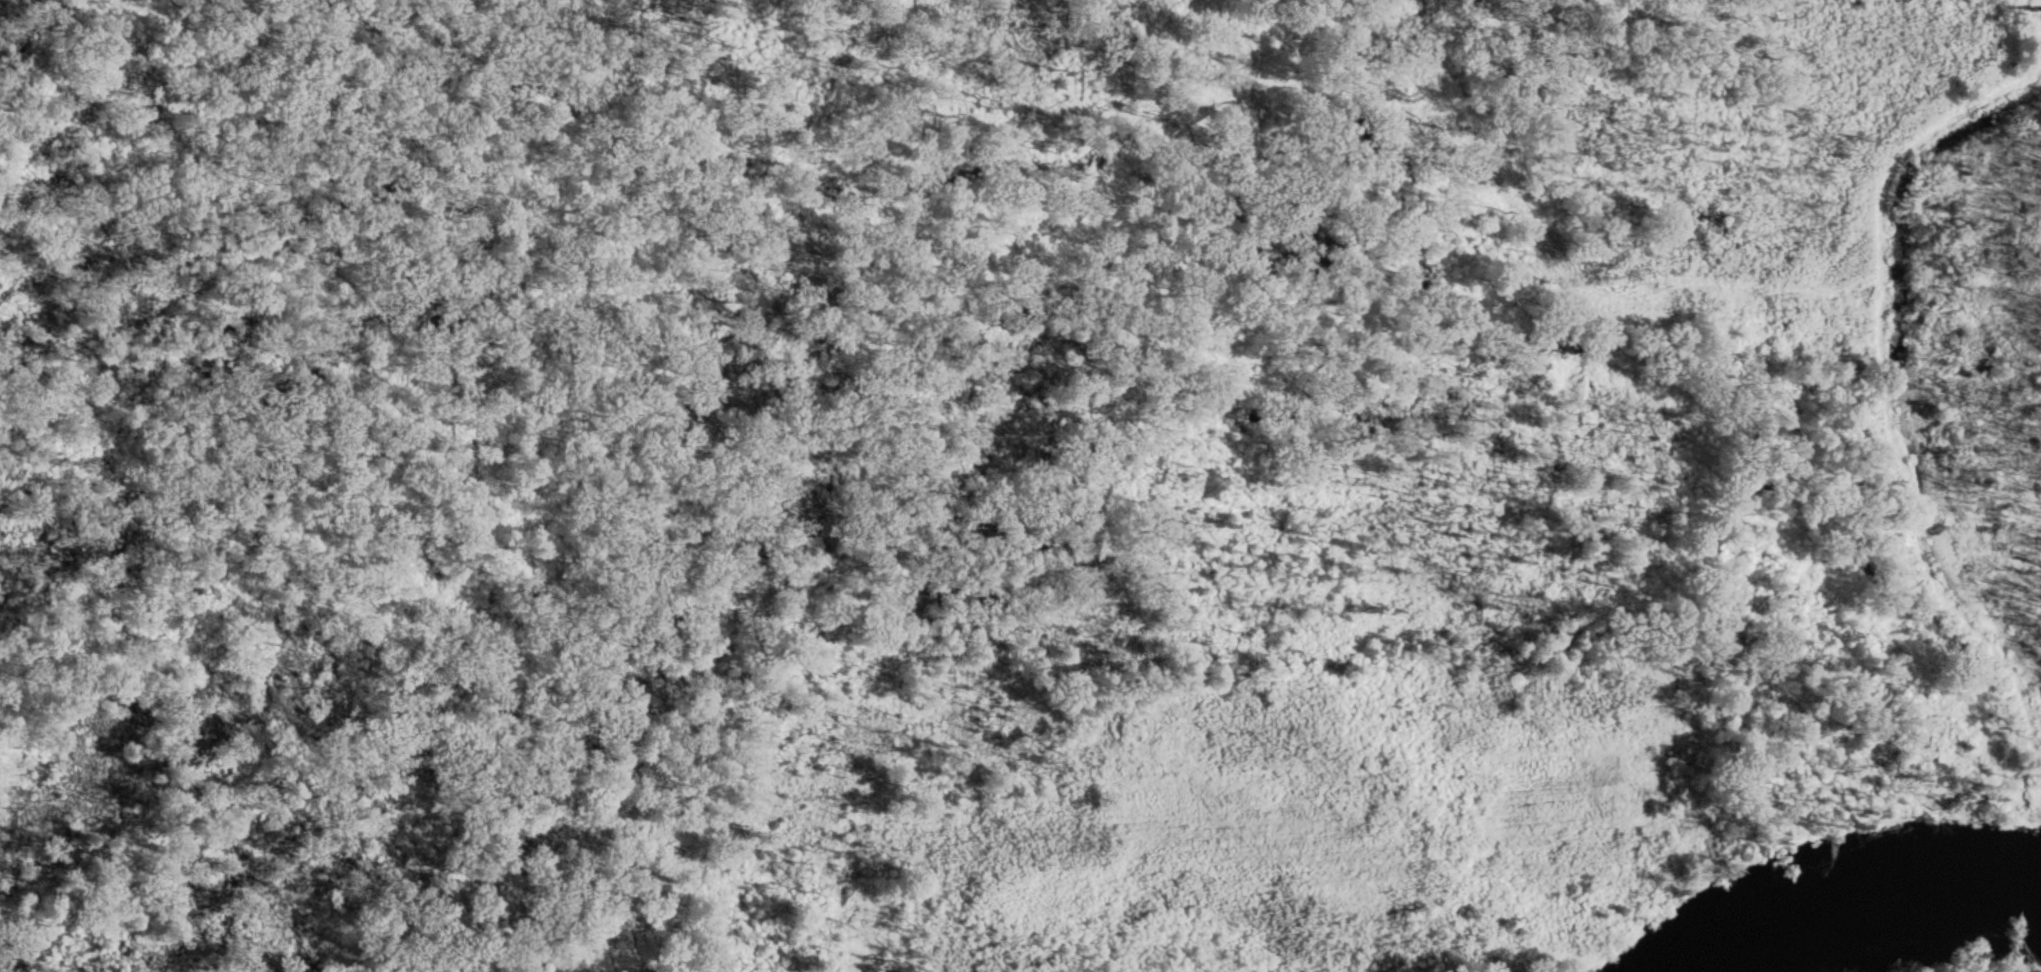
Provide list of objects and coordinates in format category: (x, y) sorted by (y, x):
road: (1904, 170)
river: (1884, 911)

